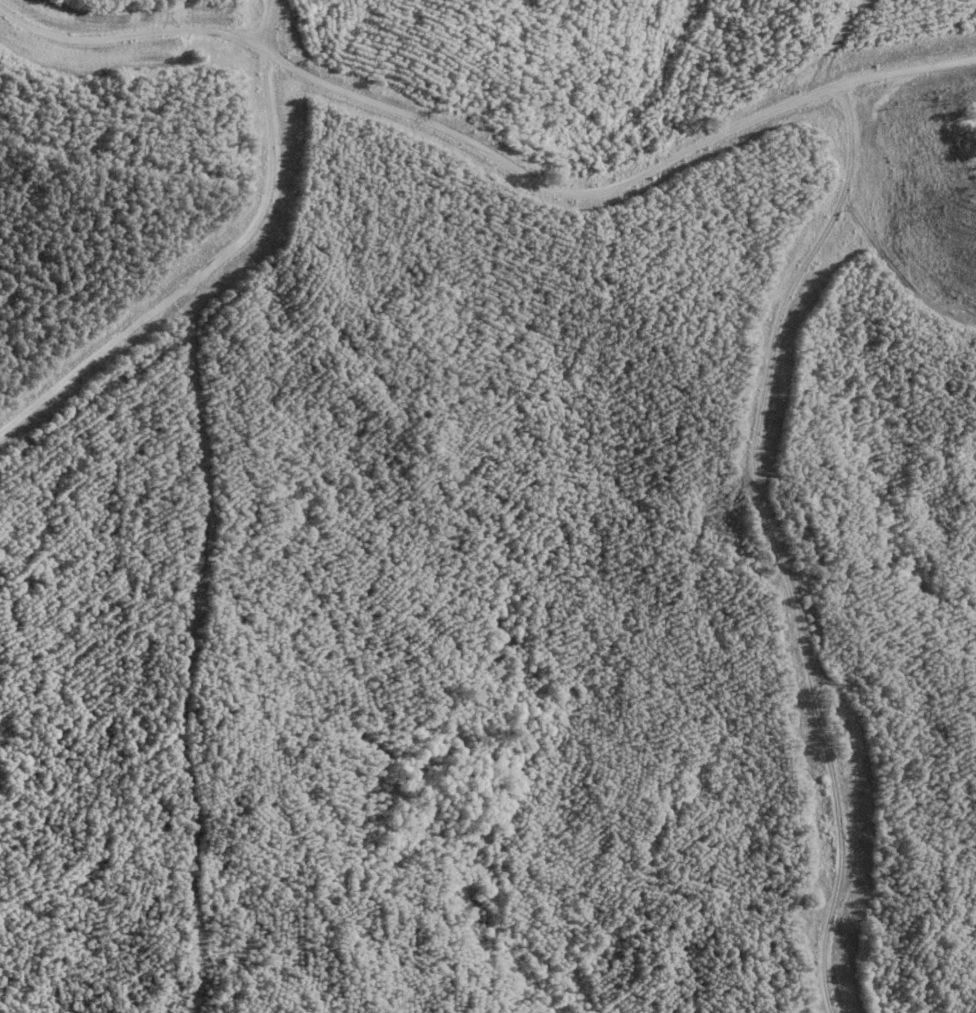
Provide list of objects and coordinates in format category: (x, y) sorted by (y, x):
road: (489, 144)

